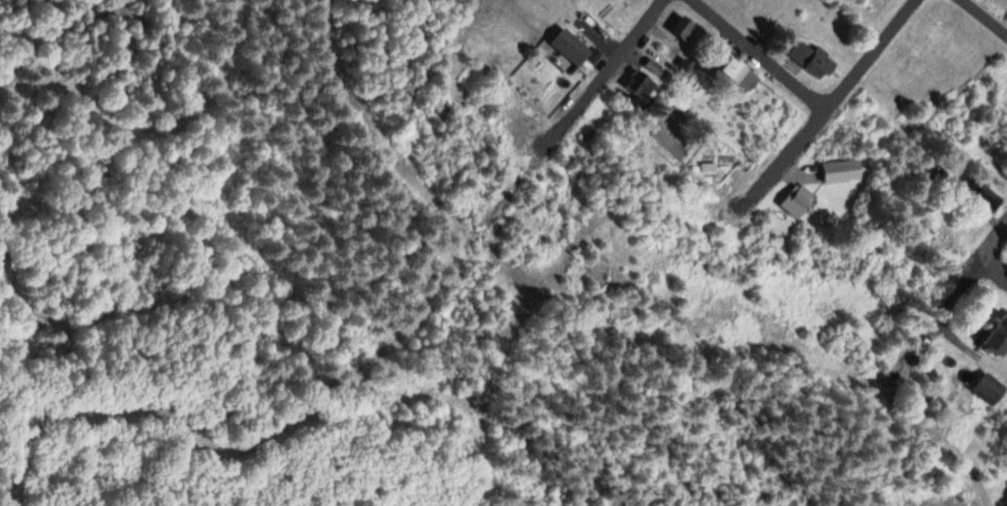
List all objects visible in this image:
road: (992, 12)
building: (685, 30)
road: (462, 41)
building: (568, 46)
road: (770, 49)
building: (811, 60)
building: (737, 73)
building: (643, 88)
road: (837, 95)
road: (569, 111)
road: (428, 127)
building: (840, 170)
building: (981, 194)
building: (795, 199)
road: (1001, 234)
road: (1002, 257)
road: (619, 319)
building: (997, 334)
road: (399, 371)
building: (987, 387)

